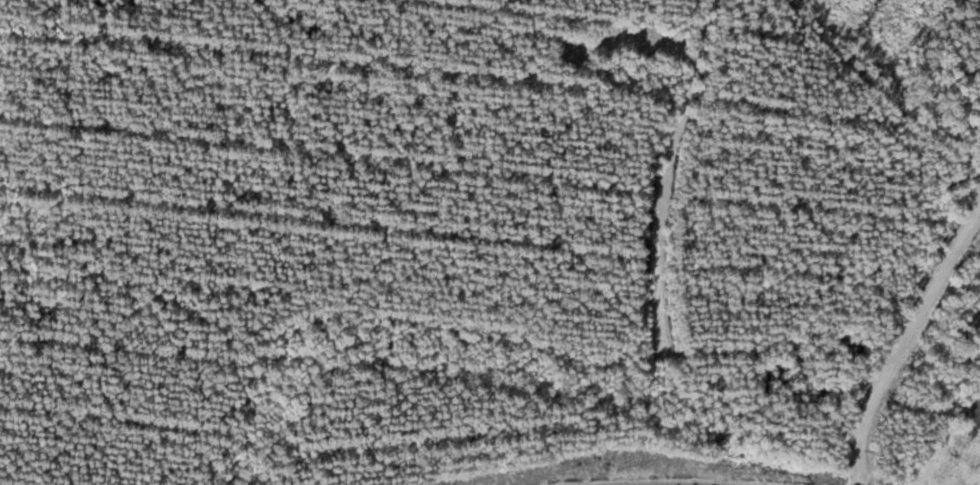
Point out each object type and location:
road: (864, 108)

